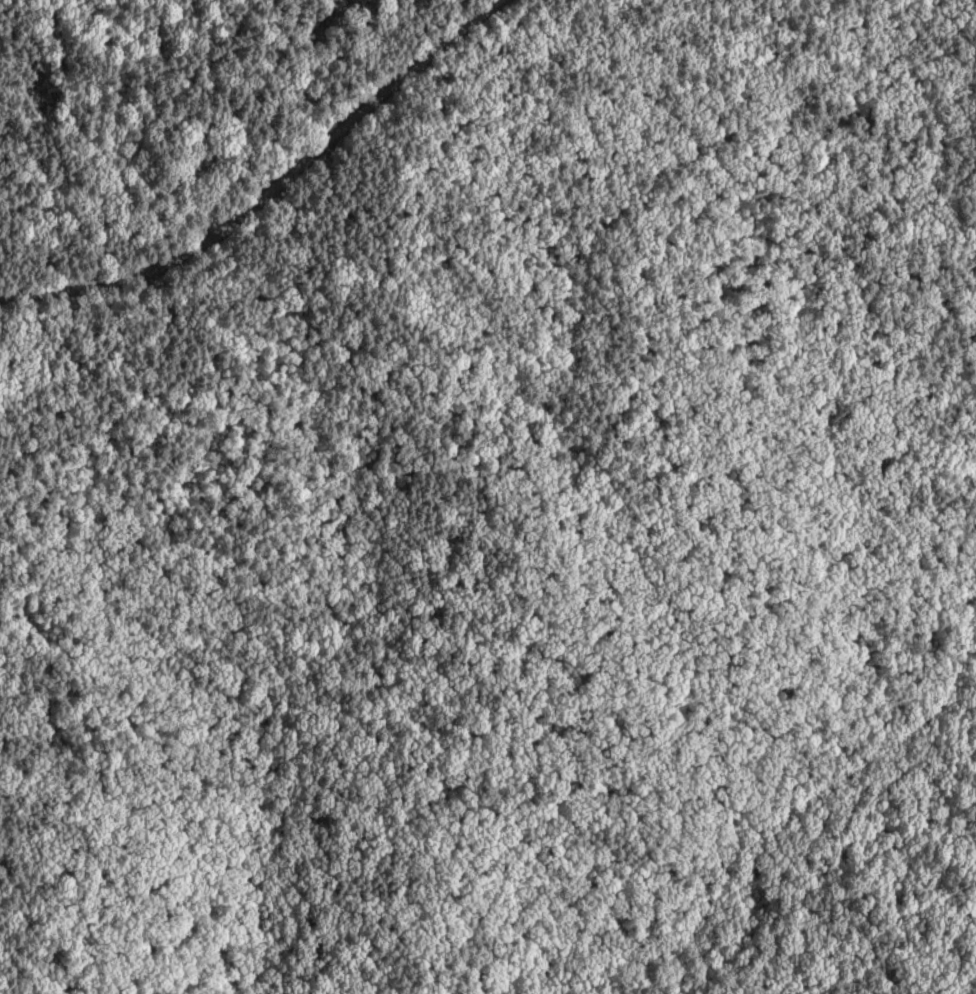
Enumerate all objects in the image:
road: (280, 188)

